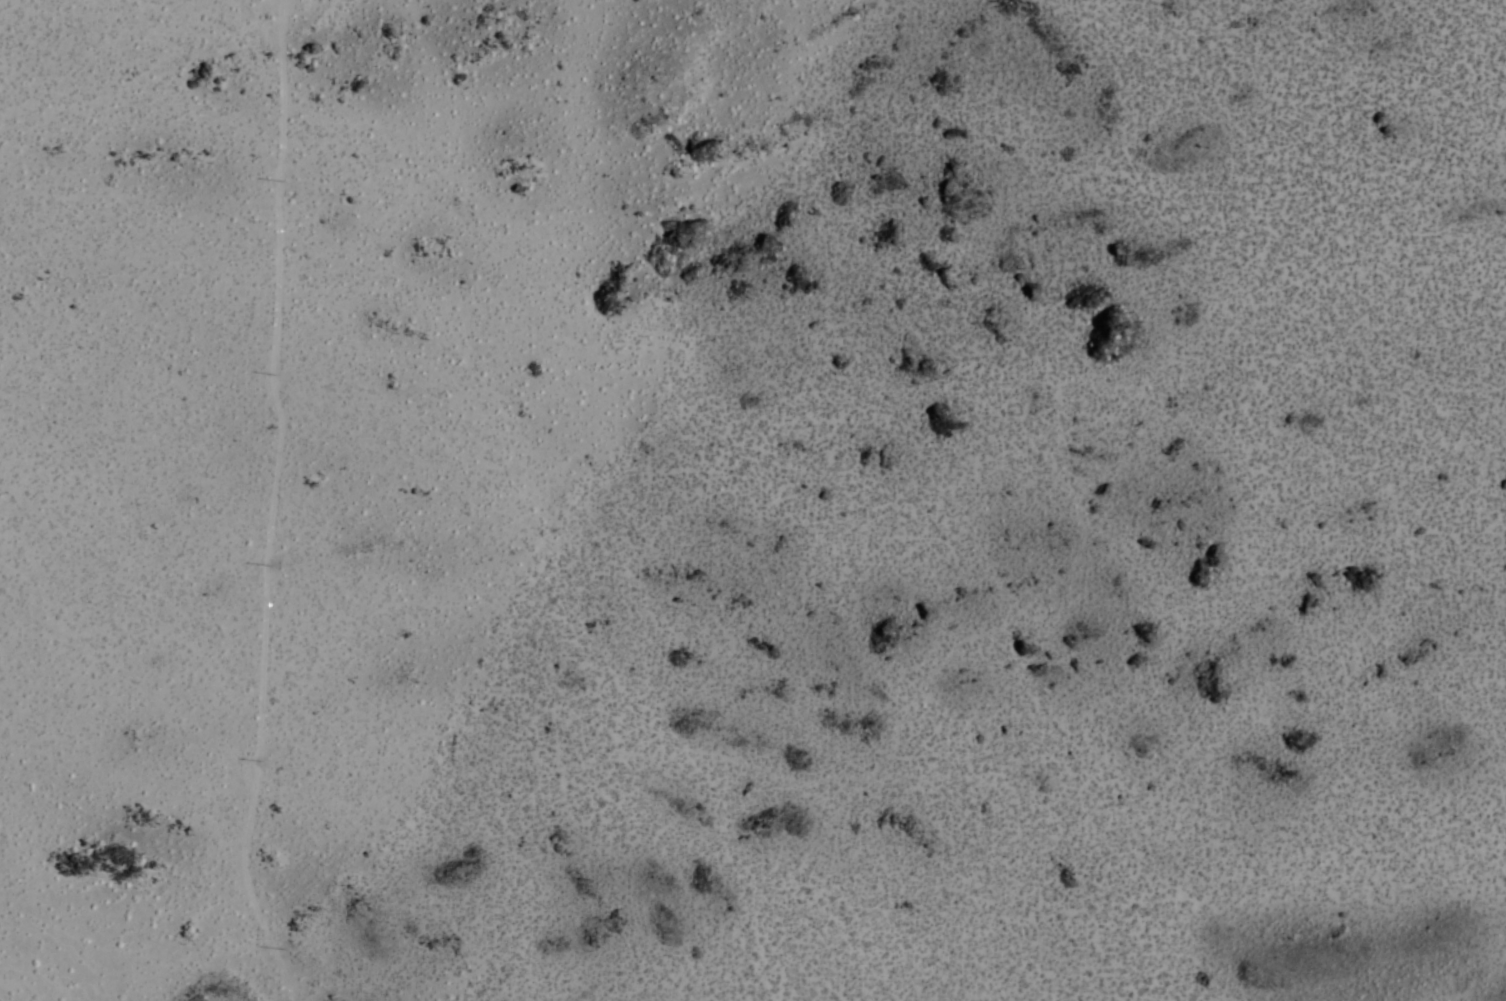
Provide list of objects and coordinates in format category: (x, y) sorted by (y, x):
road: (271, 504)

